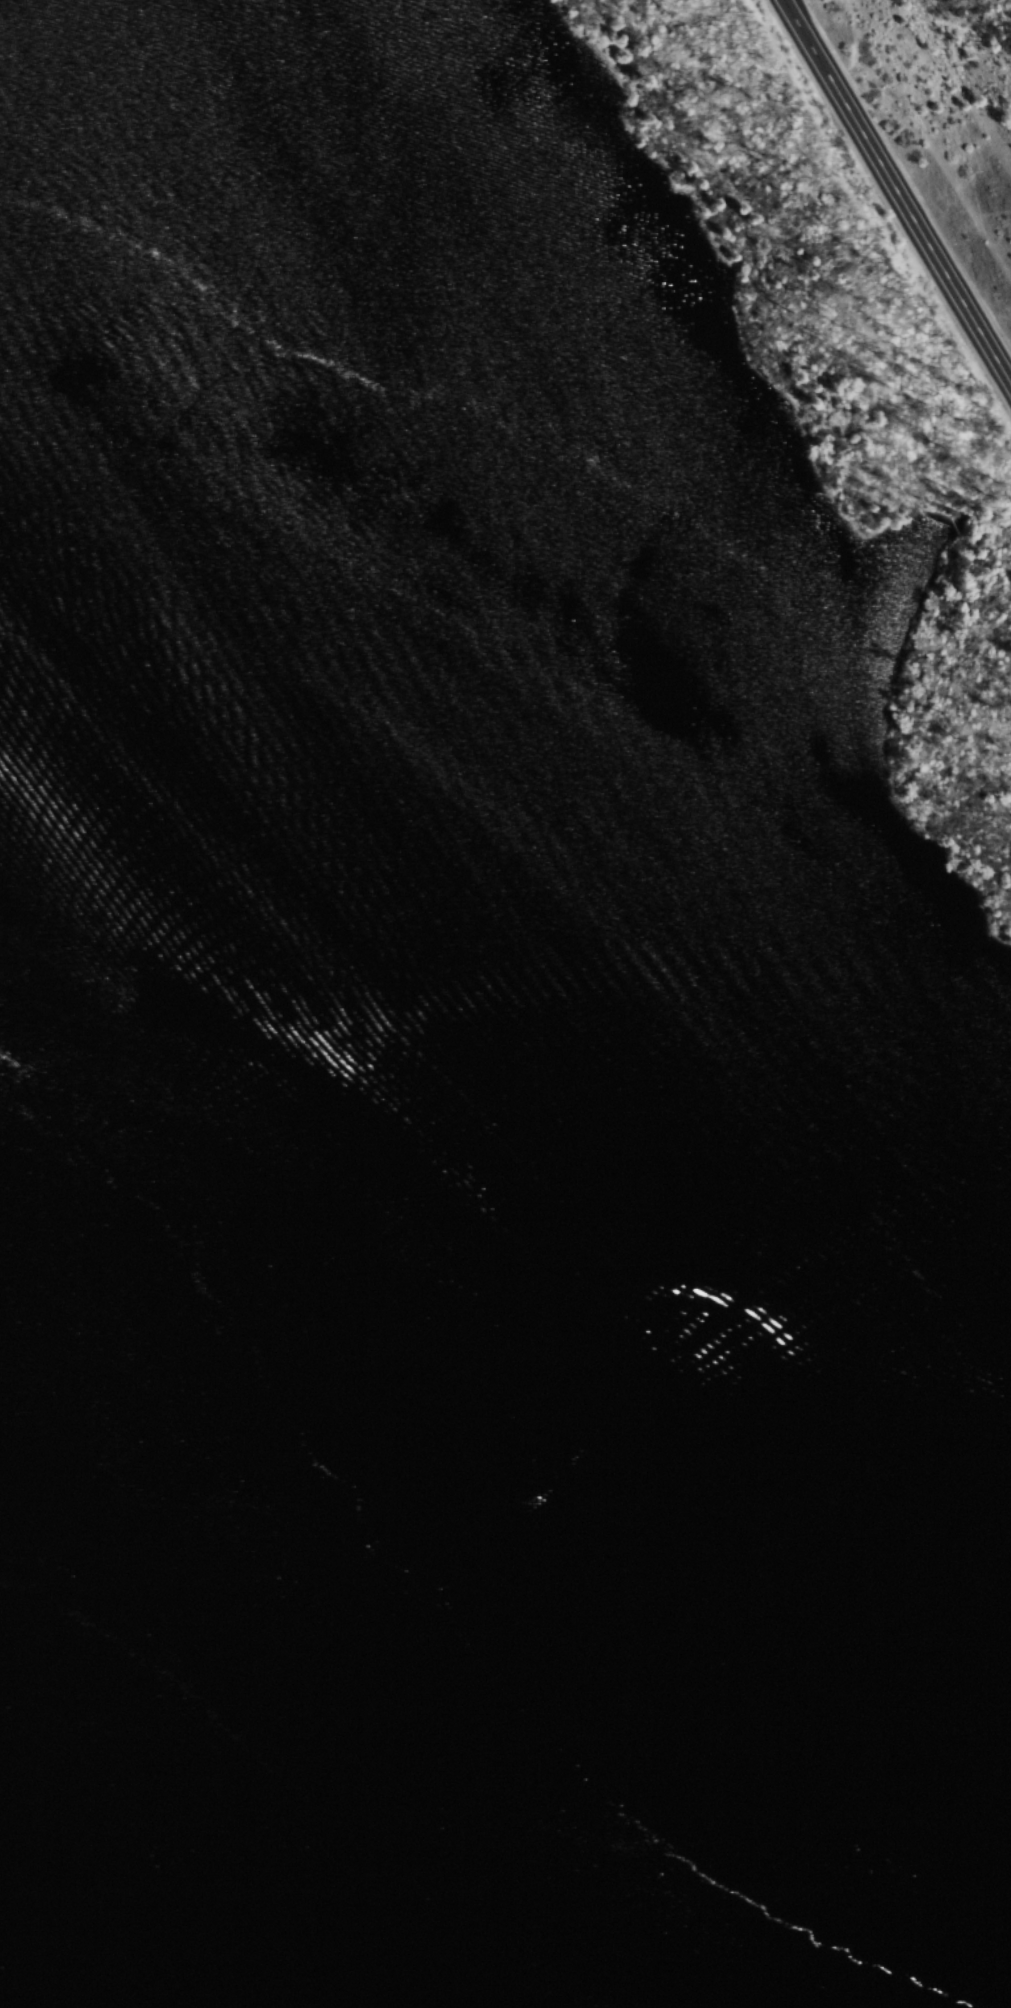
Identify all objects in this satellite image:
road: (898, 186)

